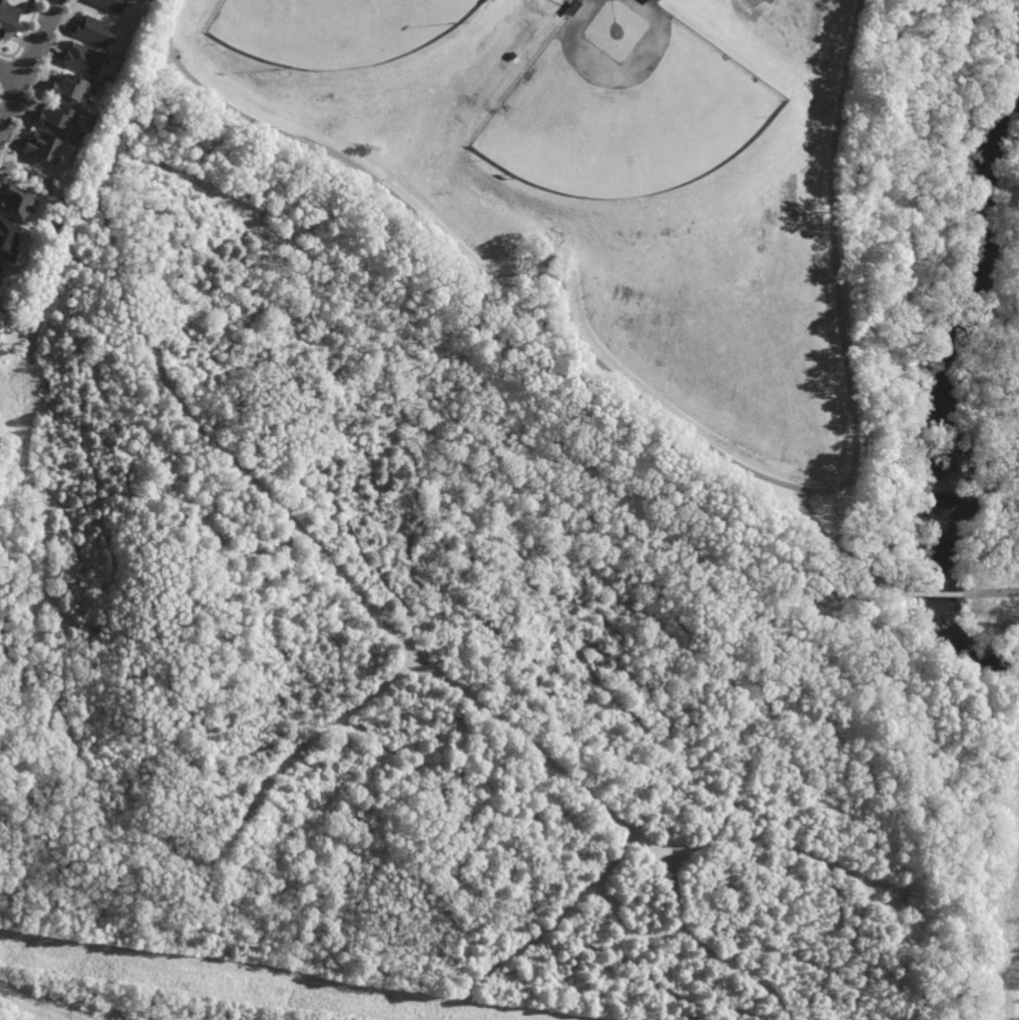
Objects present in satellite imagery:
building: (111, 5)
road: (175, 16)
building: (7, 18)
park: (338, 29)
building: (94, 31)
building: (82, 58)
road: (32, 66)
road: (12, 77)
building: (69, 89)
park: (627, 104)
building: (55, 118)
building: (41, 146)
park: (803, 167)
road: (100, 186)
building: (16, 203)
road: (947, 227)
park: (555, 230)
building: (7, 239)
road: (837, 264)
building: (0, 267)
road: (98, 269)
road: (484, 273)
road: (37, 309)
road: (915, 387)
road: (1003, 390)
road: (322, 418)
road: (989, 424)
road: (184, 491)
road: (513, 496)
park: (522, 521)
road: (893, 544)
road: (113, 553)
road: (847, 555)
road: (634, 563)
road: (823, 563)
road: (922, 584)
road: (807, 587)
road: (538, 590)
road: (878, 591)
road: (938, 591)
road: (990, 591)
road: (871, 602)
road: (866, 614)
road: (29, 627)
road: (411, 646)
road: (915, 654)
road: (928, 716)
road: (887, 723)
road: (122, 733)
road: (416, 751)
road: (85, 775)
road: (337, 803)
road: (901, 831)
road: (51, 840)
road: (789, 842)
road: (391, 857)
road: (879, 857)
road: (507, 878)
road: (912, 880)
road: (552, 922)
road: (627, 930)
road: (197, 932)
road: (778, 951)
road: (281, 977)
road: (1015, 994)
road: (657, 997)
road: (128, 998)
road: (582, 1001)
road: (40, 1004)
road: (788, 1012)

